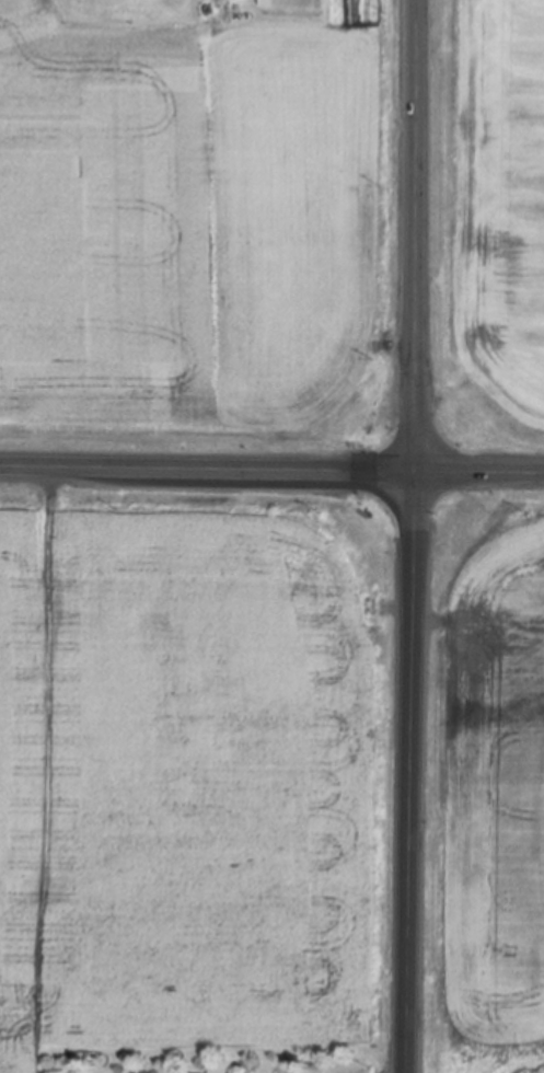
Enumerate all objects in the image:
building: (294, 1)
road: (271, 473)
road: (417, 536)

